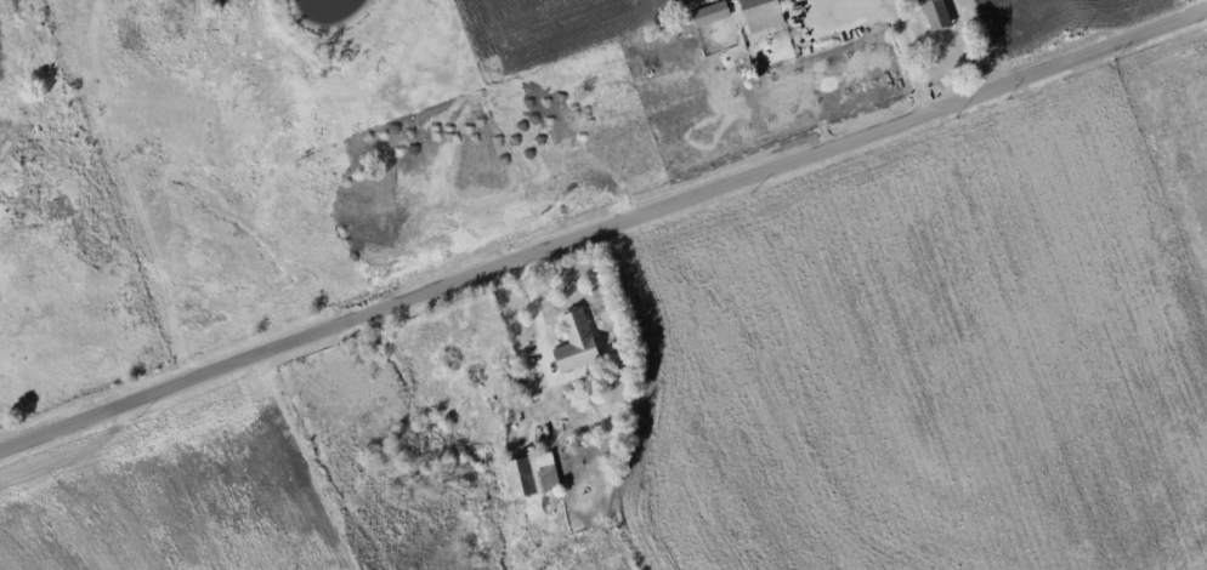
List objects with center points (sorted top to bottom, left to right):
building: (712, 13)
building: (937, 13)
road: (891, 21)
road: (602, 230)
road: (537, 317)
building: (577, 343)
building: (533, 475)

